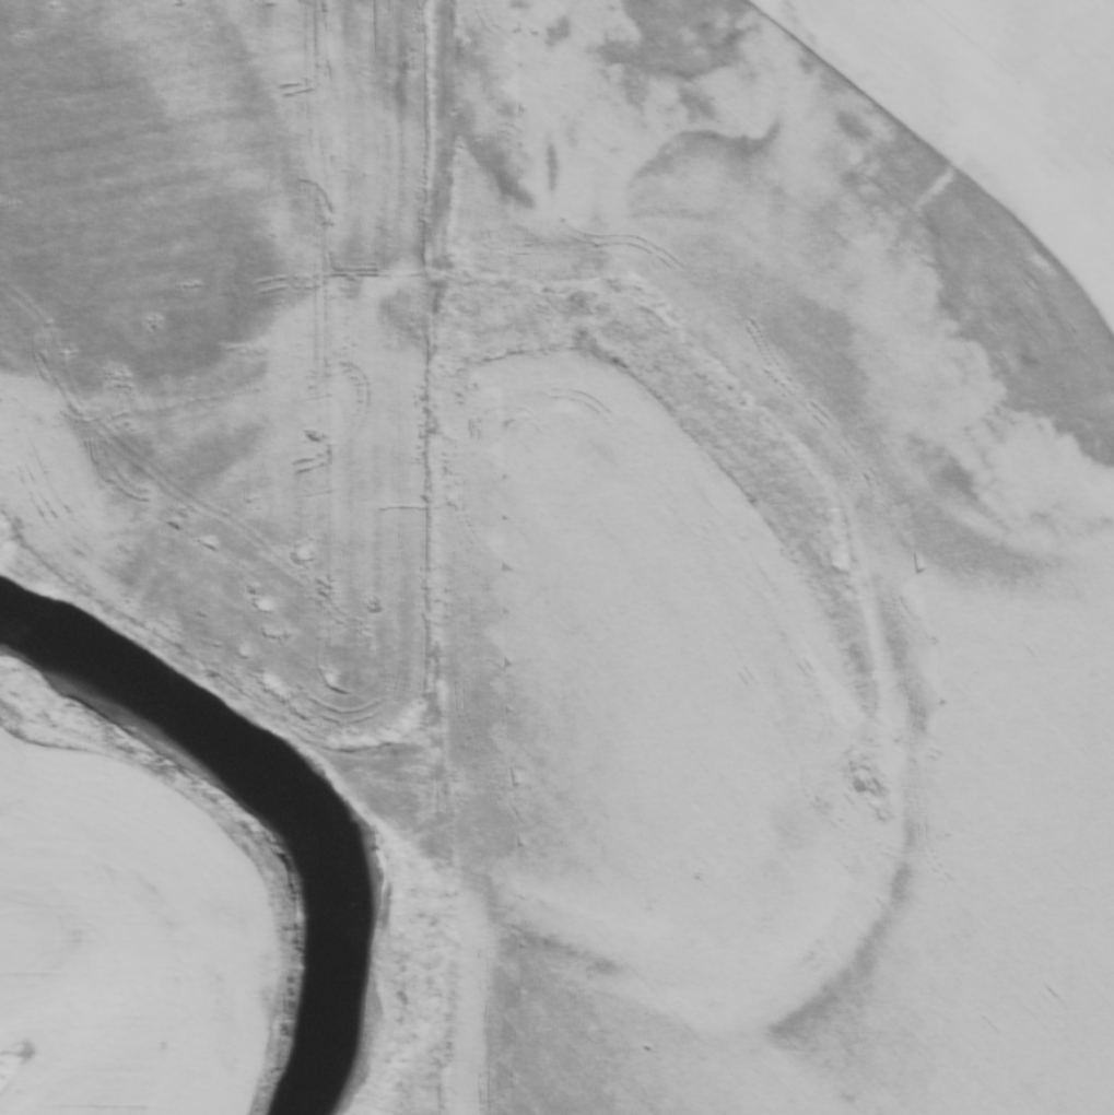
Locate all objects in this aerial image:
river: (281, 798)

